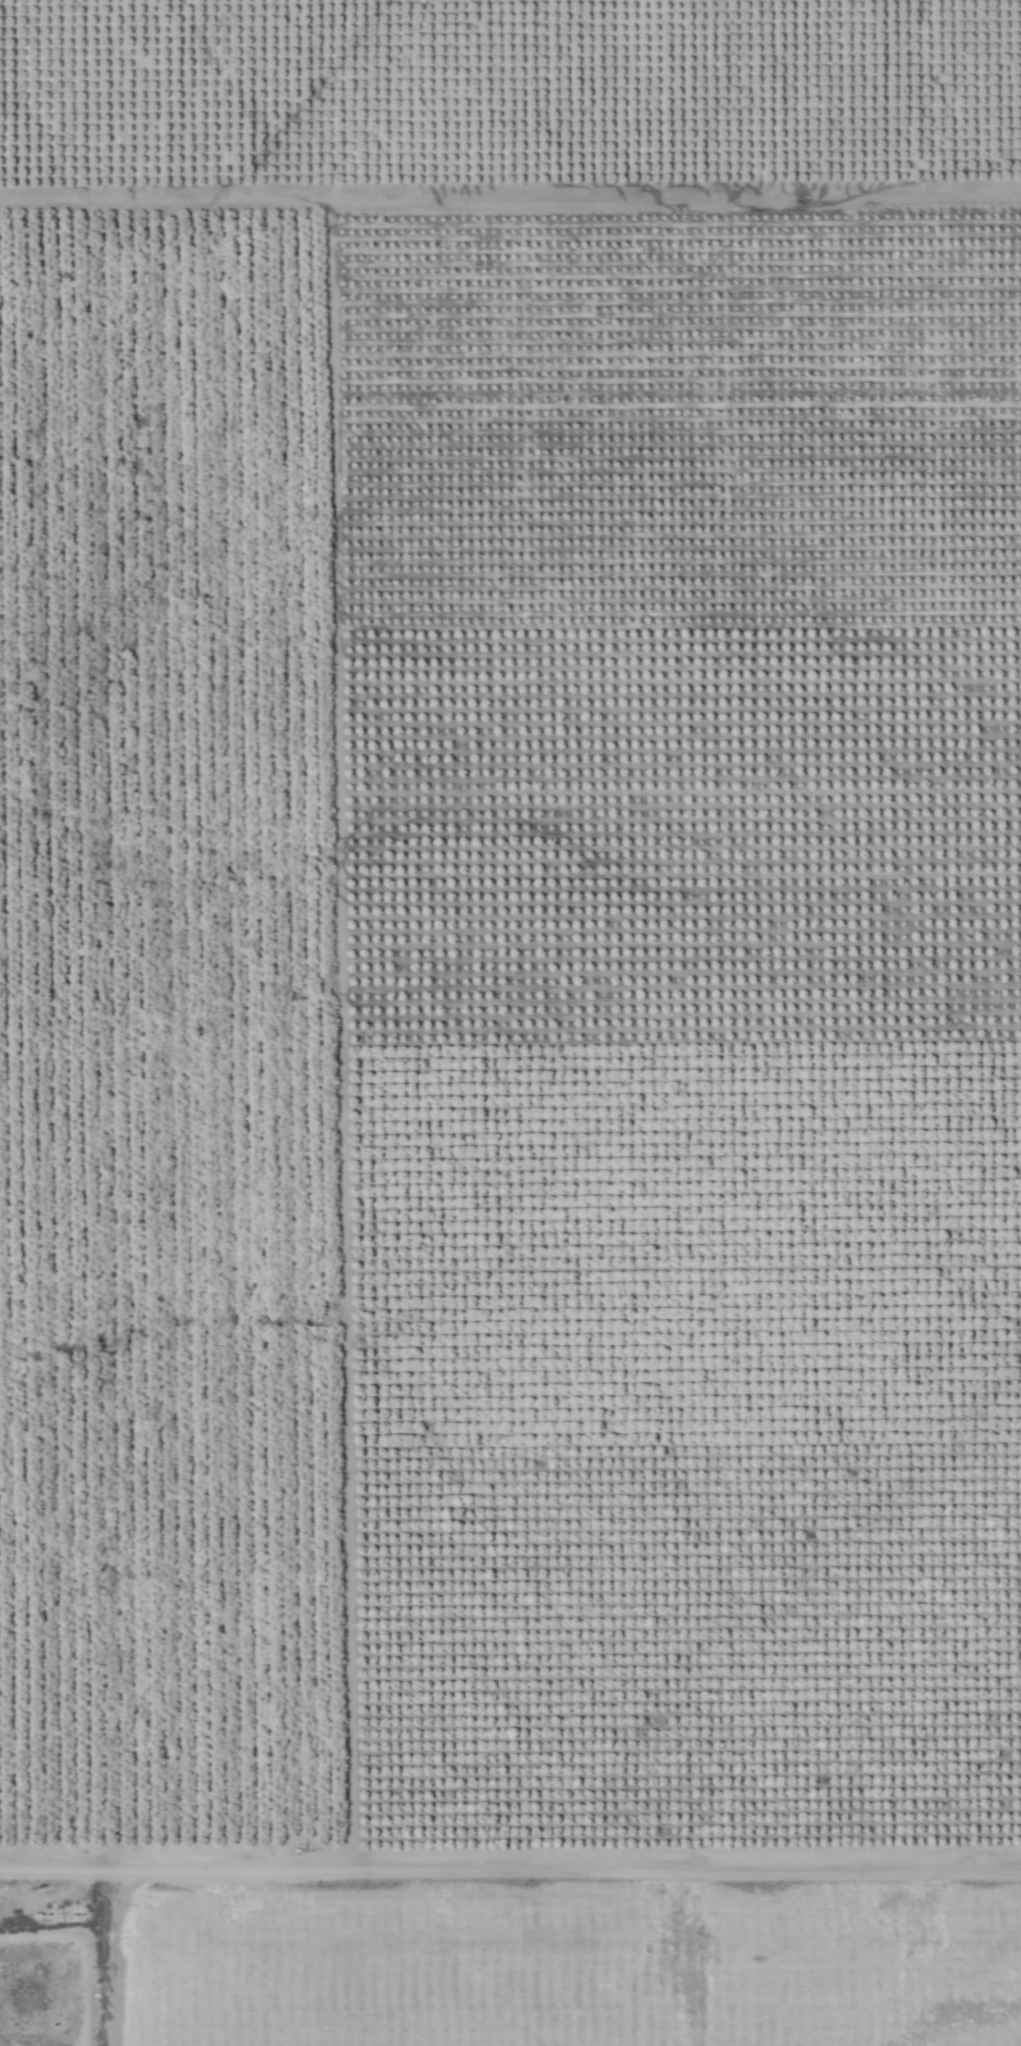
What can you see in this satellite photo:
road: (510, 1870)

